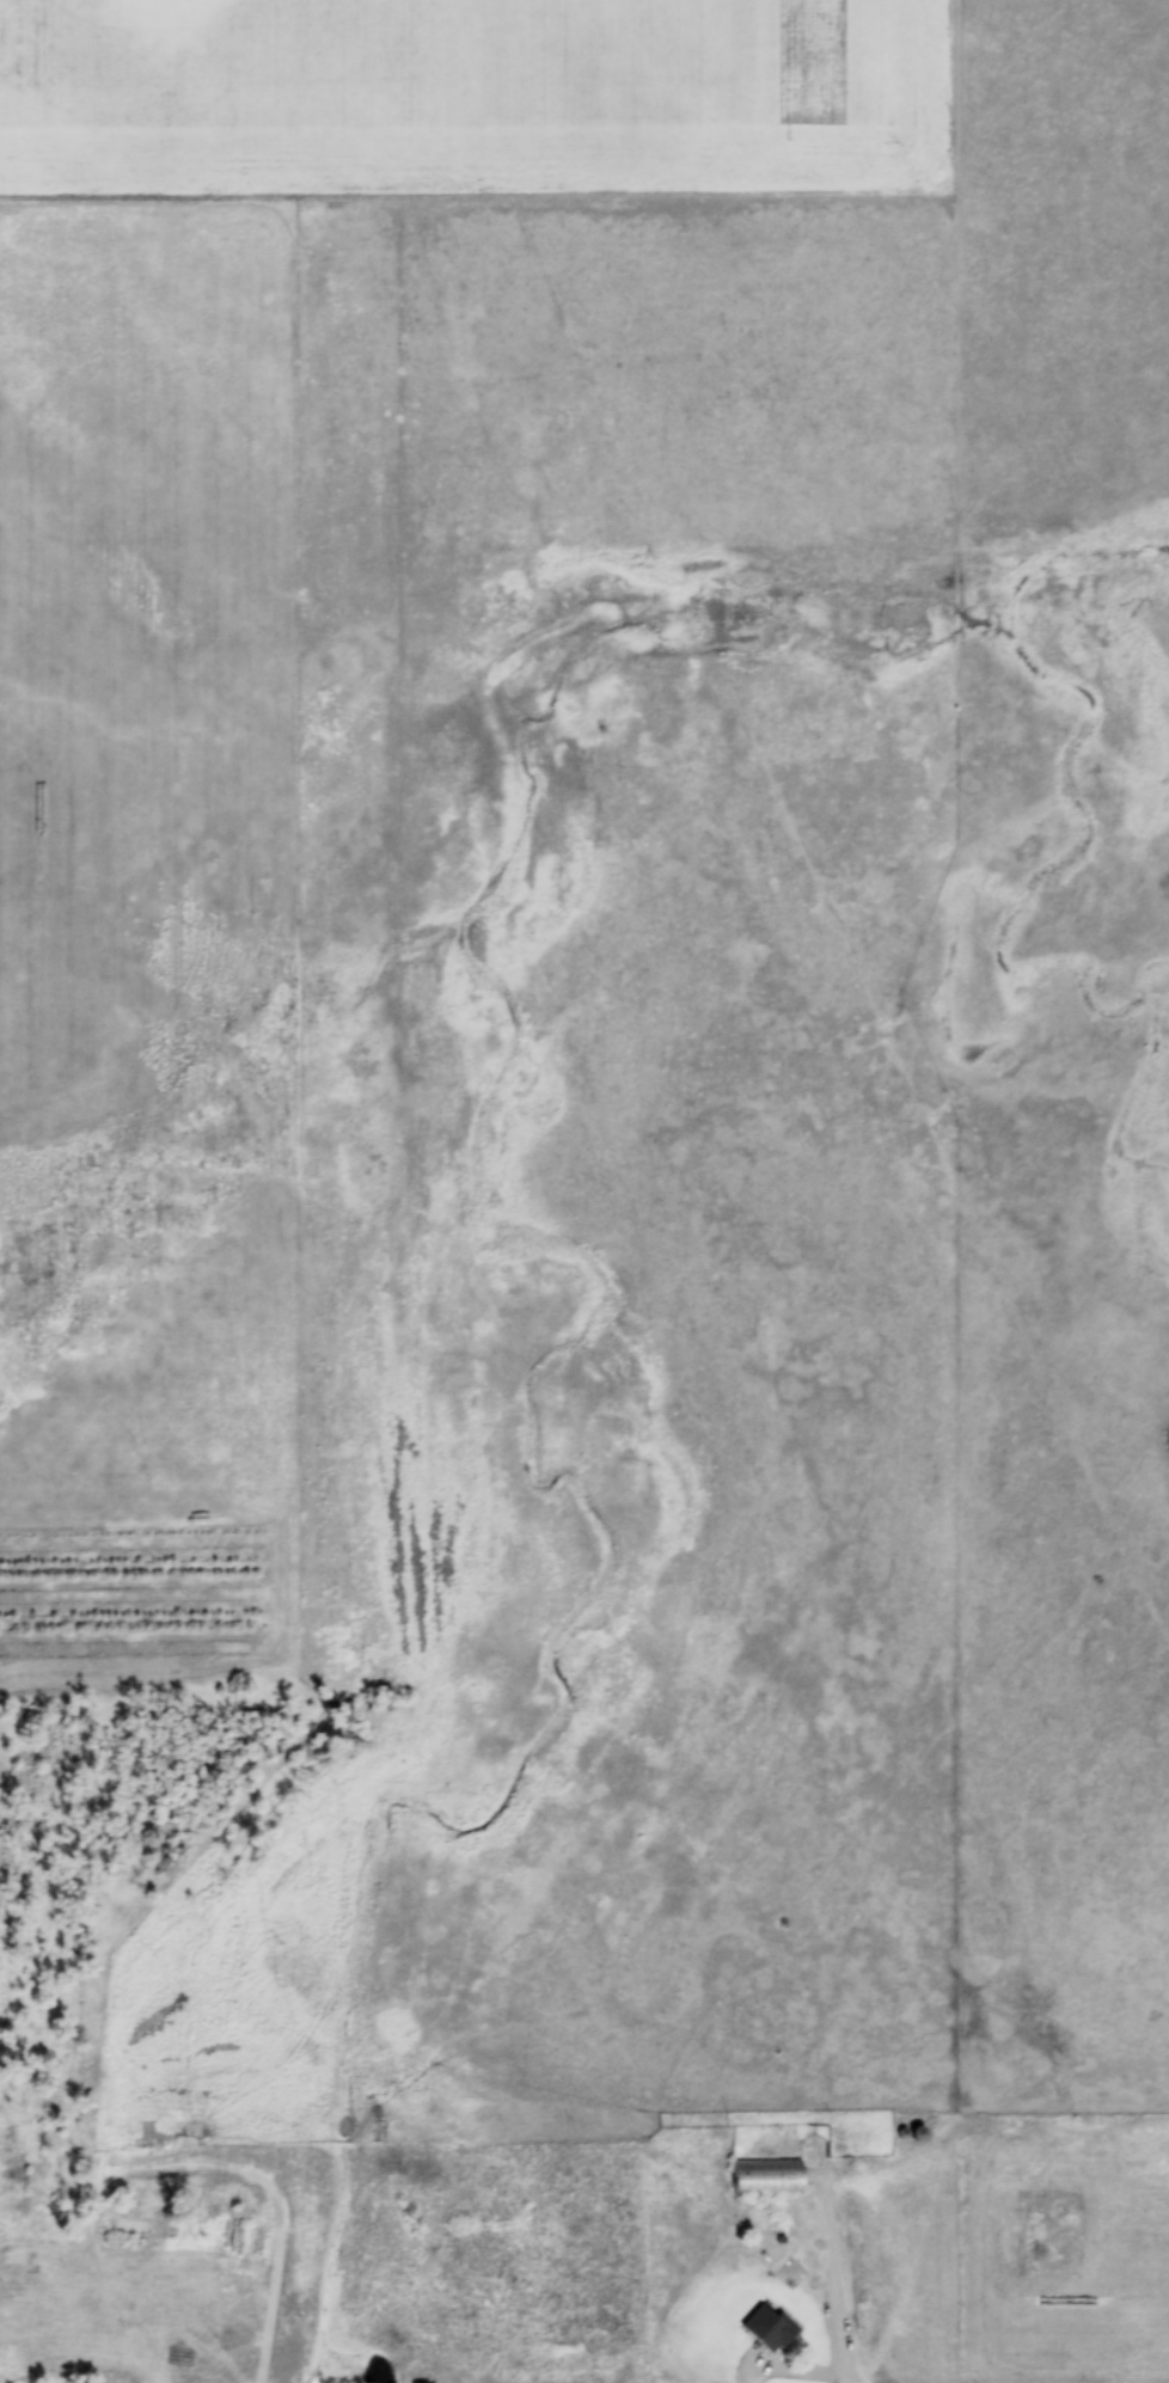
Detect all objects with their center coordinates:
building: (147, 2131)
building: (922, 2134)
building: (771, 2177)
building: (773, 2329)

